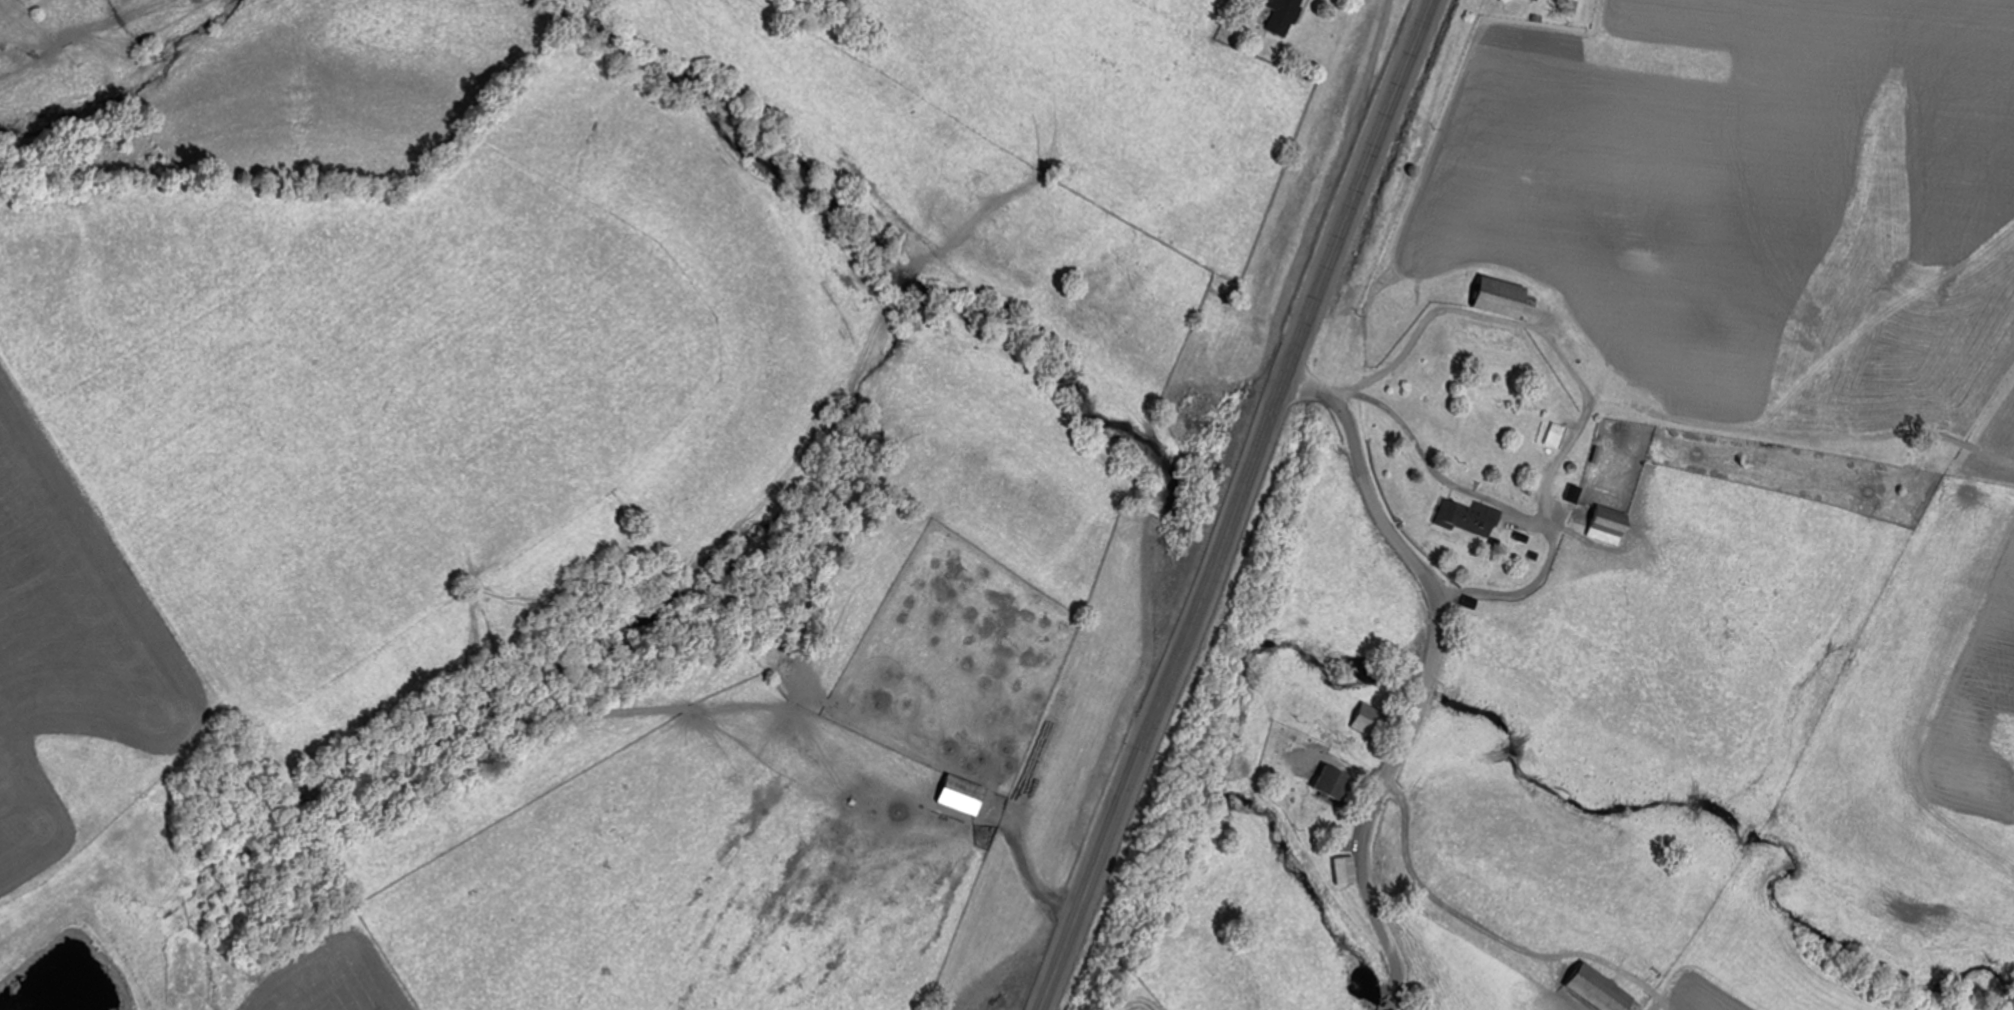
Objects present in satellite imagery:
building: (1539, 0)
building: (1286, 15)
building: (1504, 296)
building: (1558, 435)
road: (1234, 504)
building: (1472, 518)
building: (1611, 524)
road: (1394, 530)
building: (1371, 720)
building: (1335, 782)
building: (963, 795)
road: (1369, 861)
building: (1348, 870)
building: (1602, 990)

